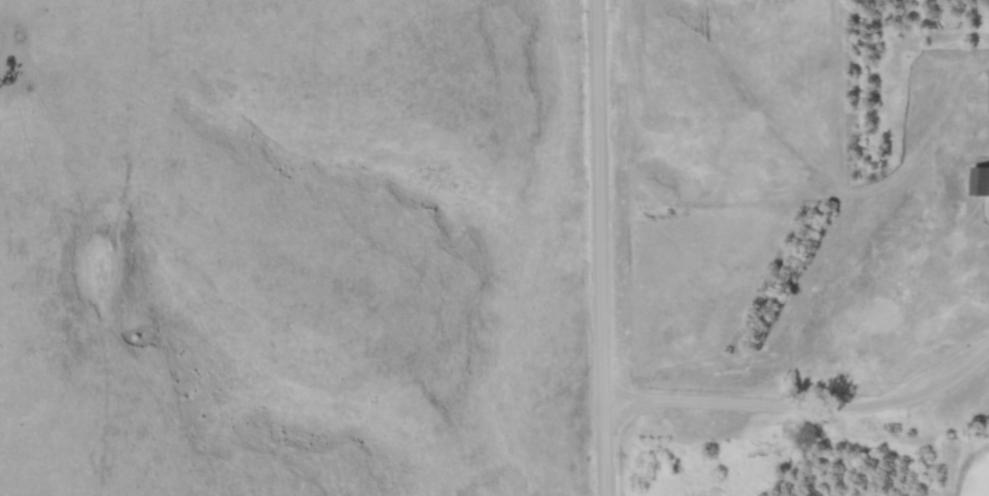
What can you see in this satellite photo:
building: (979, 183)
road: (600, 248)
road: (803, 407)

